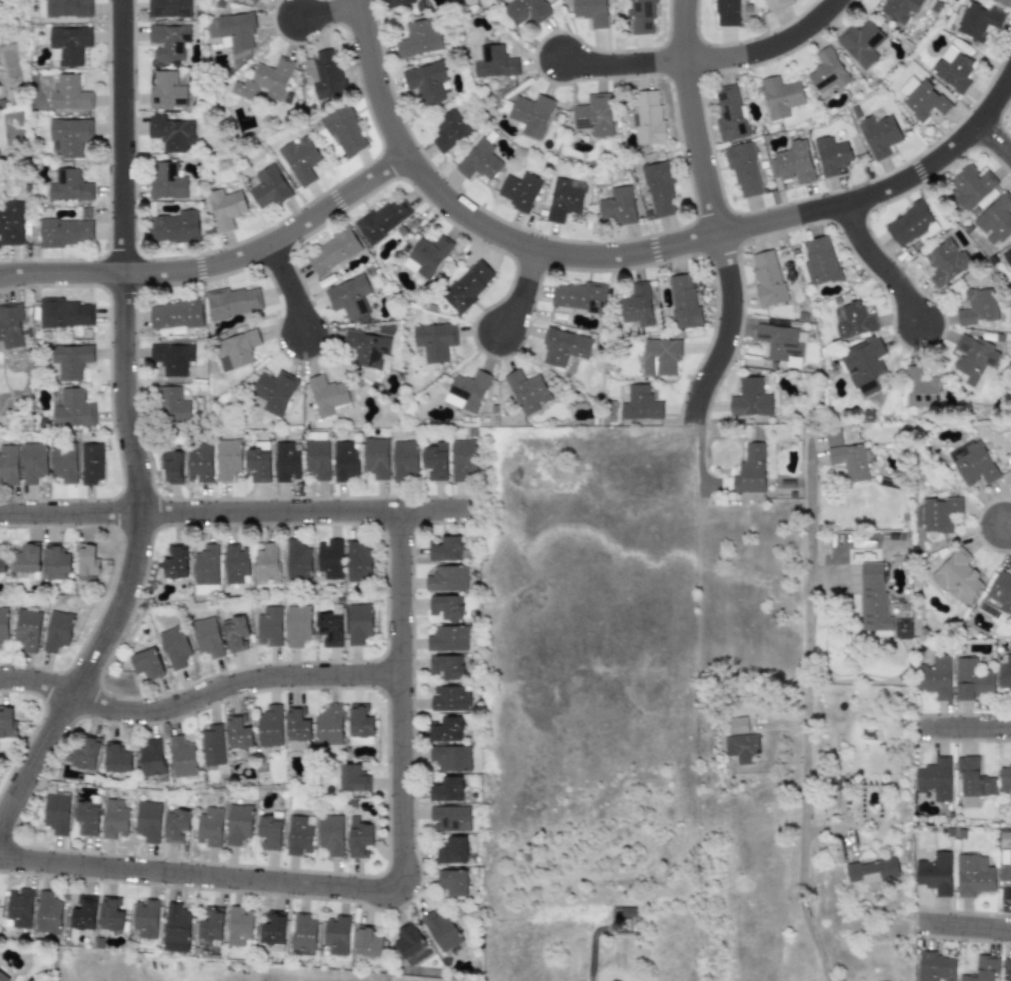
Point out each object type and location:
building: (254, 1)
building: (397, 2)
building: (1003, 2)
building: (775, 4)
building: (67, 8)
building: (169, 8)
building: (899, 9)
building: (526, 10)
road: (327, 11)
building: (589, 11)
building: (725, 13)
building: (639, 16)
building: (977, 21)
building: (236, 31)
building: (418, 38)
building: (168, 41)
building: (860, 43)
building: (69, 44)
road: (765, 47)
building: (493, 61)
road: (621, 64)
building: (953, 68)
building: (827, 71)
building: (324, 74)
building: (265, 81)
building: (426, 81)
building: (166, 90)
building: (69, 93)
building: (780, 97)
building: (920, 98)
building: (531, 114)
building: (594, 114)
building: (729, 114)
building: (648, 117)
road: (689, 117)
building: (449, 130)
building: (344, 131)
building: (170, 132)
building: (879, 135)
building: (70, 136)
road: (992, 140)
building: (831, 155)
building: (300, 160)
building: (479, 161)
building: (792, 162)
building: (744, 170)
building: (167, 181)
building: (69, 186)
building: (968, 186)
building: (268, 187)
road: (886, 188)
building: (659, 189)
building: (519, 190)
building: (564, 199)
building: (617, 206)
building: (225, 208)
building: (383, 218)
road: (470, 219)
building: (995, 220)
building: (11, 223)
building: (911, 224)
building: (174, 227)
building: (64, 232)
building: (332, 251)
building: (426, 256)
building: (1007, 256)
building: (819, 260)
building: (945, 262)
road: (216, 263)
road: (877, 264)
building: (767, 279)
building: (467, 286)
road: (288, 287)
road: (520, 292)
building: (579, 296)
building: (348, 297)
building: (233, 301)
building: (683, 301)
building: (637, 305)
building: (978, 306)
building: (65, 312)
building: (175, 314)
building: (854, 320)
building: (10, 325)
road: (727, 326)
building: (434, 341)
building: (780, 344)
building: (564, 347)
building: (236, 349)
building: (368, 349)
building: (660, 356)
building: (172, 358)
building: (69, 360)
building: (973, 361)
building: (865, 366)
building: (920, 388)
building: (274, 391)
building: (467, 391)
building: (527, 391)
building: (327, 395)
building: (749, 398)
building: (639, 403)
building: (172, 405)
building: (72, 409)
road: (126, 426)
building: (832, 438)
building: (375, 457)
road: (699, 457)
building: (227, 458)
building: (317, 459)
building: (404, 460)
building: (463, 460)
building: (63, 461)
building: (287, 461)
building: (345, 461)
building: (435, 461)
building: (849, 461)
building: (33, 462)
building: (258, 462)
building: (90, 463)
building: (199, 463)
building: (8, 464)
building: (973, 464)
building: (172, 467)
building: (750, 469)
road: (298, 510)
road: (68, 513)
building: (939, 514)
road: (1006, 528)
building: (446, 549)
building: (329, 559)
building: (87, 560)
building: (358, 560)
building: (27, 561)
building: (297, 561)
building: (56, 562)
building: (267, 562)
building: (175, 563)
building: (235, 563)
building: (2, 564)
building: (206, 568)
building: (958, 577)
building: (447, 578)
building: (998, 597)
building: (872, 598)
building: (446, 606)
road: (808, 611)
building: (3, 623)
building: (358, 623)
building: (297, 625)
building: (269, 626)
building: (27, 629)
building: (330, 629)
building: (56, 631)
building: (234, 633)
building: (206, 637)
building: (448, 638)
building: (174, 646)
building: (146, 663)
building: (445, 666)
building: (1004, 672)
building: (934, 677)
building: (972, 679)
road: (35, 682)
road: (231, 683)
building: (449, 698)
building: (6, 721)
building: (297, 724)
building: (329, 724)
building: (359, 724)
building: (737, 725)
building: (269, 726)
road: (971, 727)
building: (446, 729)
building: (238, 732)
building: (212, 745)
building: (741, 747)
building: (85, 753)
building: (182, 757)
building: (451, 757)
building: (151, 758)
building: (116, 759)
building: (353, 778)
building: (973, 778)
building: (934, 779)
building: (1005, 779)
building: (447, 789)
building: (56, 813)
building: (87, 817)
building: (450, 818)
building: (114, 819)
building: (148, 821)
building: (237, 823)
building: (176, 826)
building: (209, 827)
building: (270, 830)
building: (299, 834)
building: (330, 834)
building: (358, 838)
building: (453, 850)
building: (873, 870)
building: (1005, 870)
building: (935, 873)
building: (974, 874)
road: (807, 880)
building: (452, 882)
road: (391, 894)
building: (19, 907)
building: (47, 912)
building: (84, 914)
building: (110, 914)
building: (145, 918)
building: (210, 924)
building: (238, 926)
road: (968, 926)
building: (176, 928)
building: (440, 930)
building: (273, 931)
building: (303, 932)
building: (335, 934)
building: (366, 941)
building: (407, 942)
building: (935, 967)
building: (1007, 967)
building: (983, 969)
building: (3, 977)

